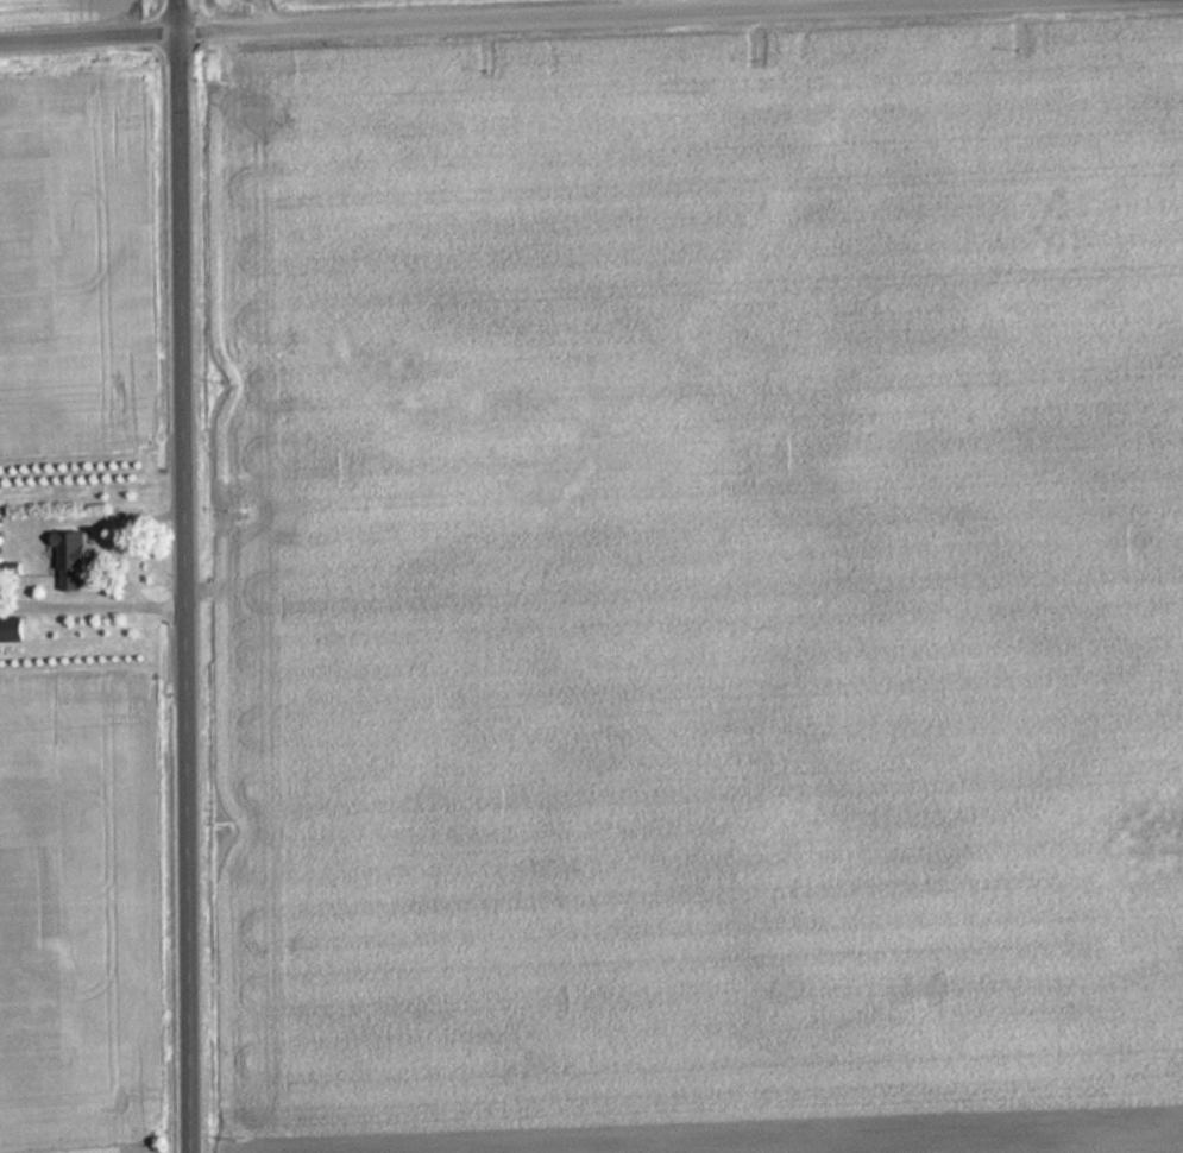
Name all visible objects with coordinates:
road: (466, 17)
building: (76, 559)
road: (188, 575)
building: (12, 631)

